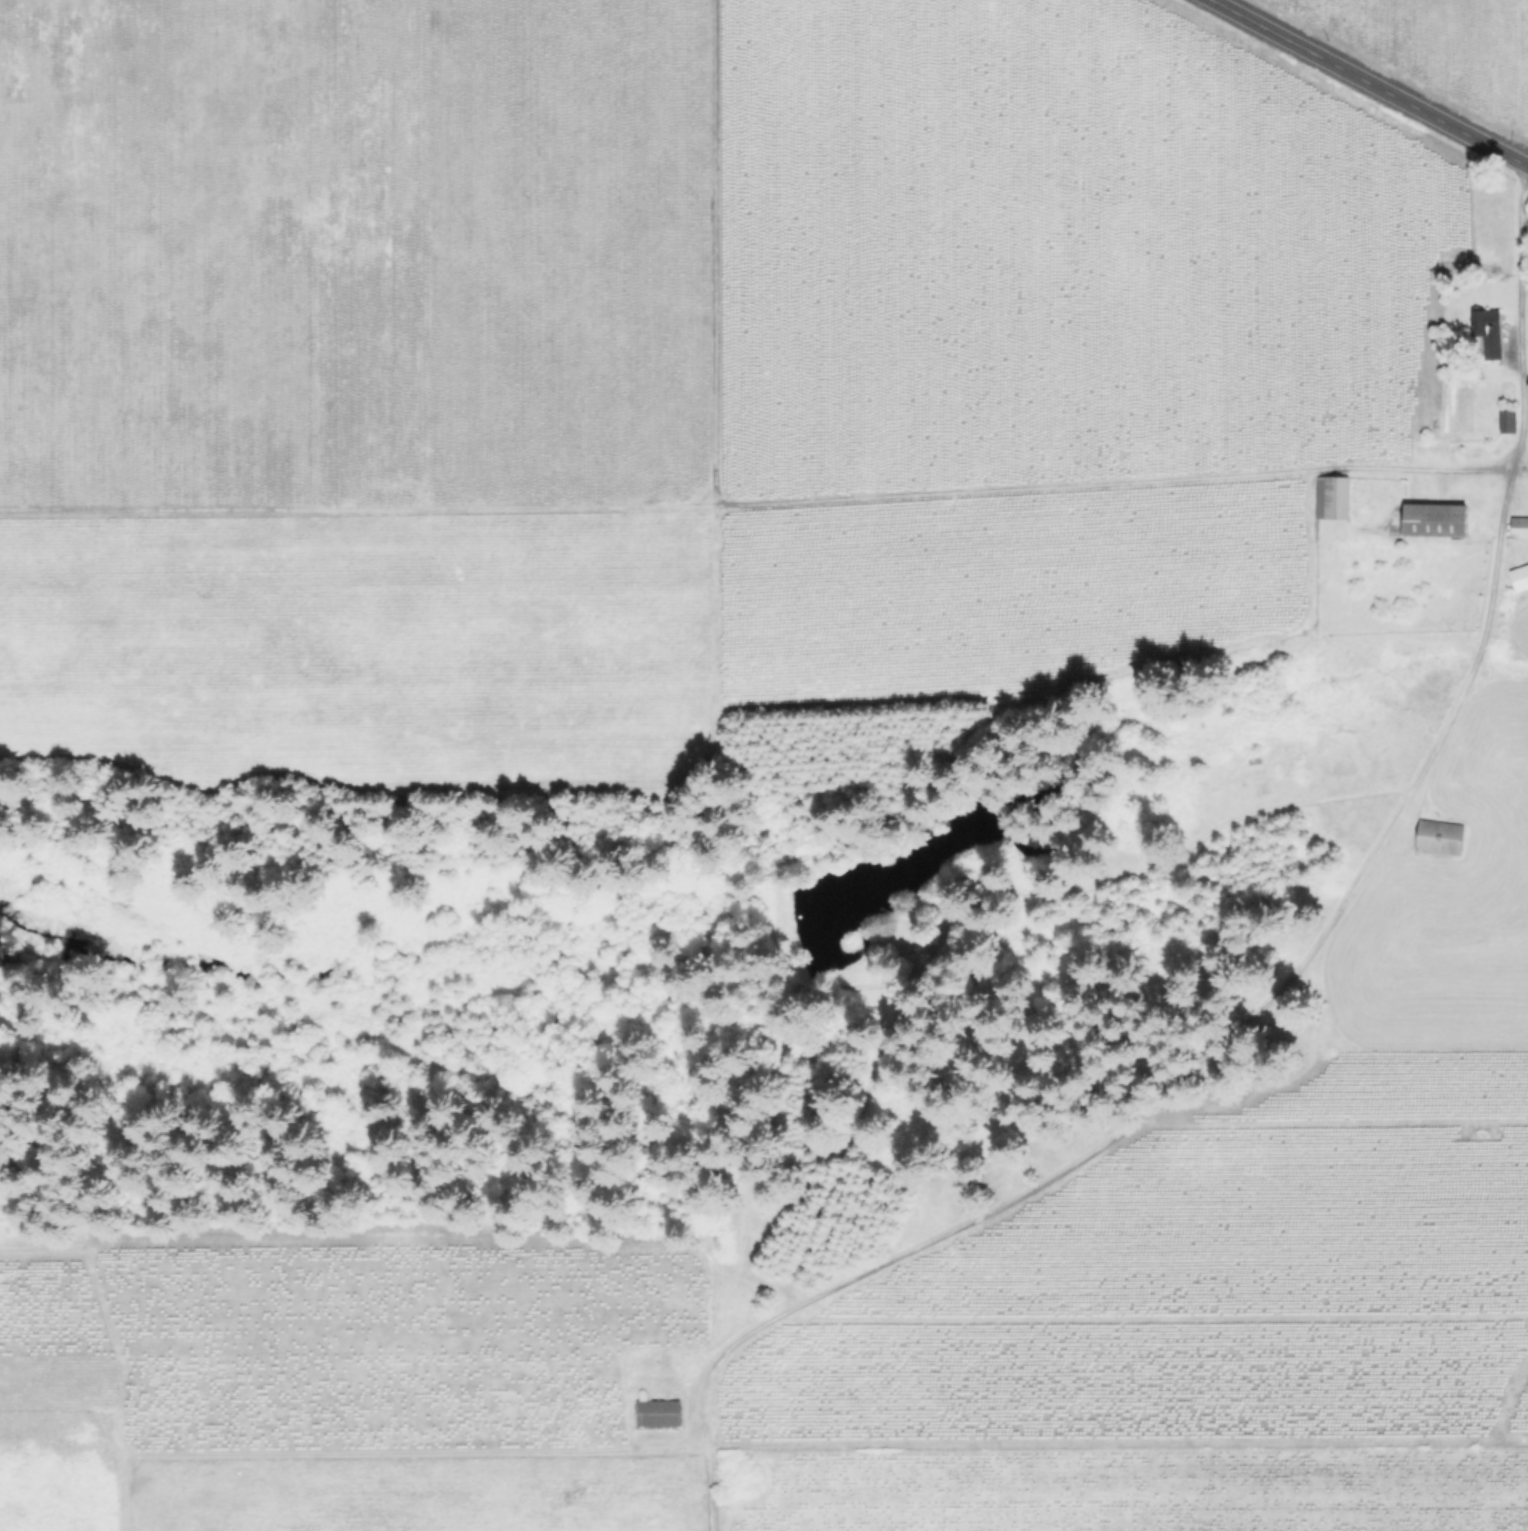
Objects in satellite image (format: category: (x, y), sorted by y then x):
road: (1369, 83)
road: (706, 250)
building: (1488, 327)
building: (1509, 421)
building: (1329, 495)
road: (757, 498)
building: (1427, 518)
building: (1519, 523)
building: (1517, 573)
building: (1440, 830)
road: (1290, 980)
building: (656, 1408)

